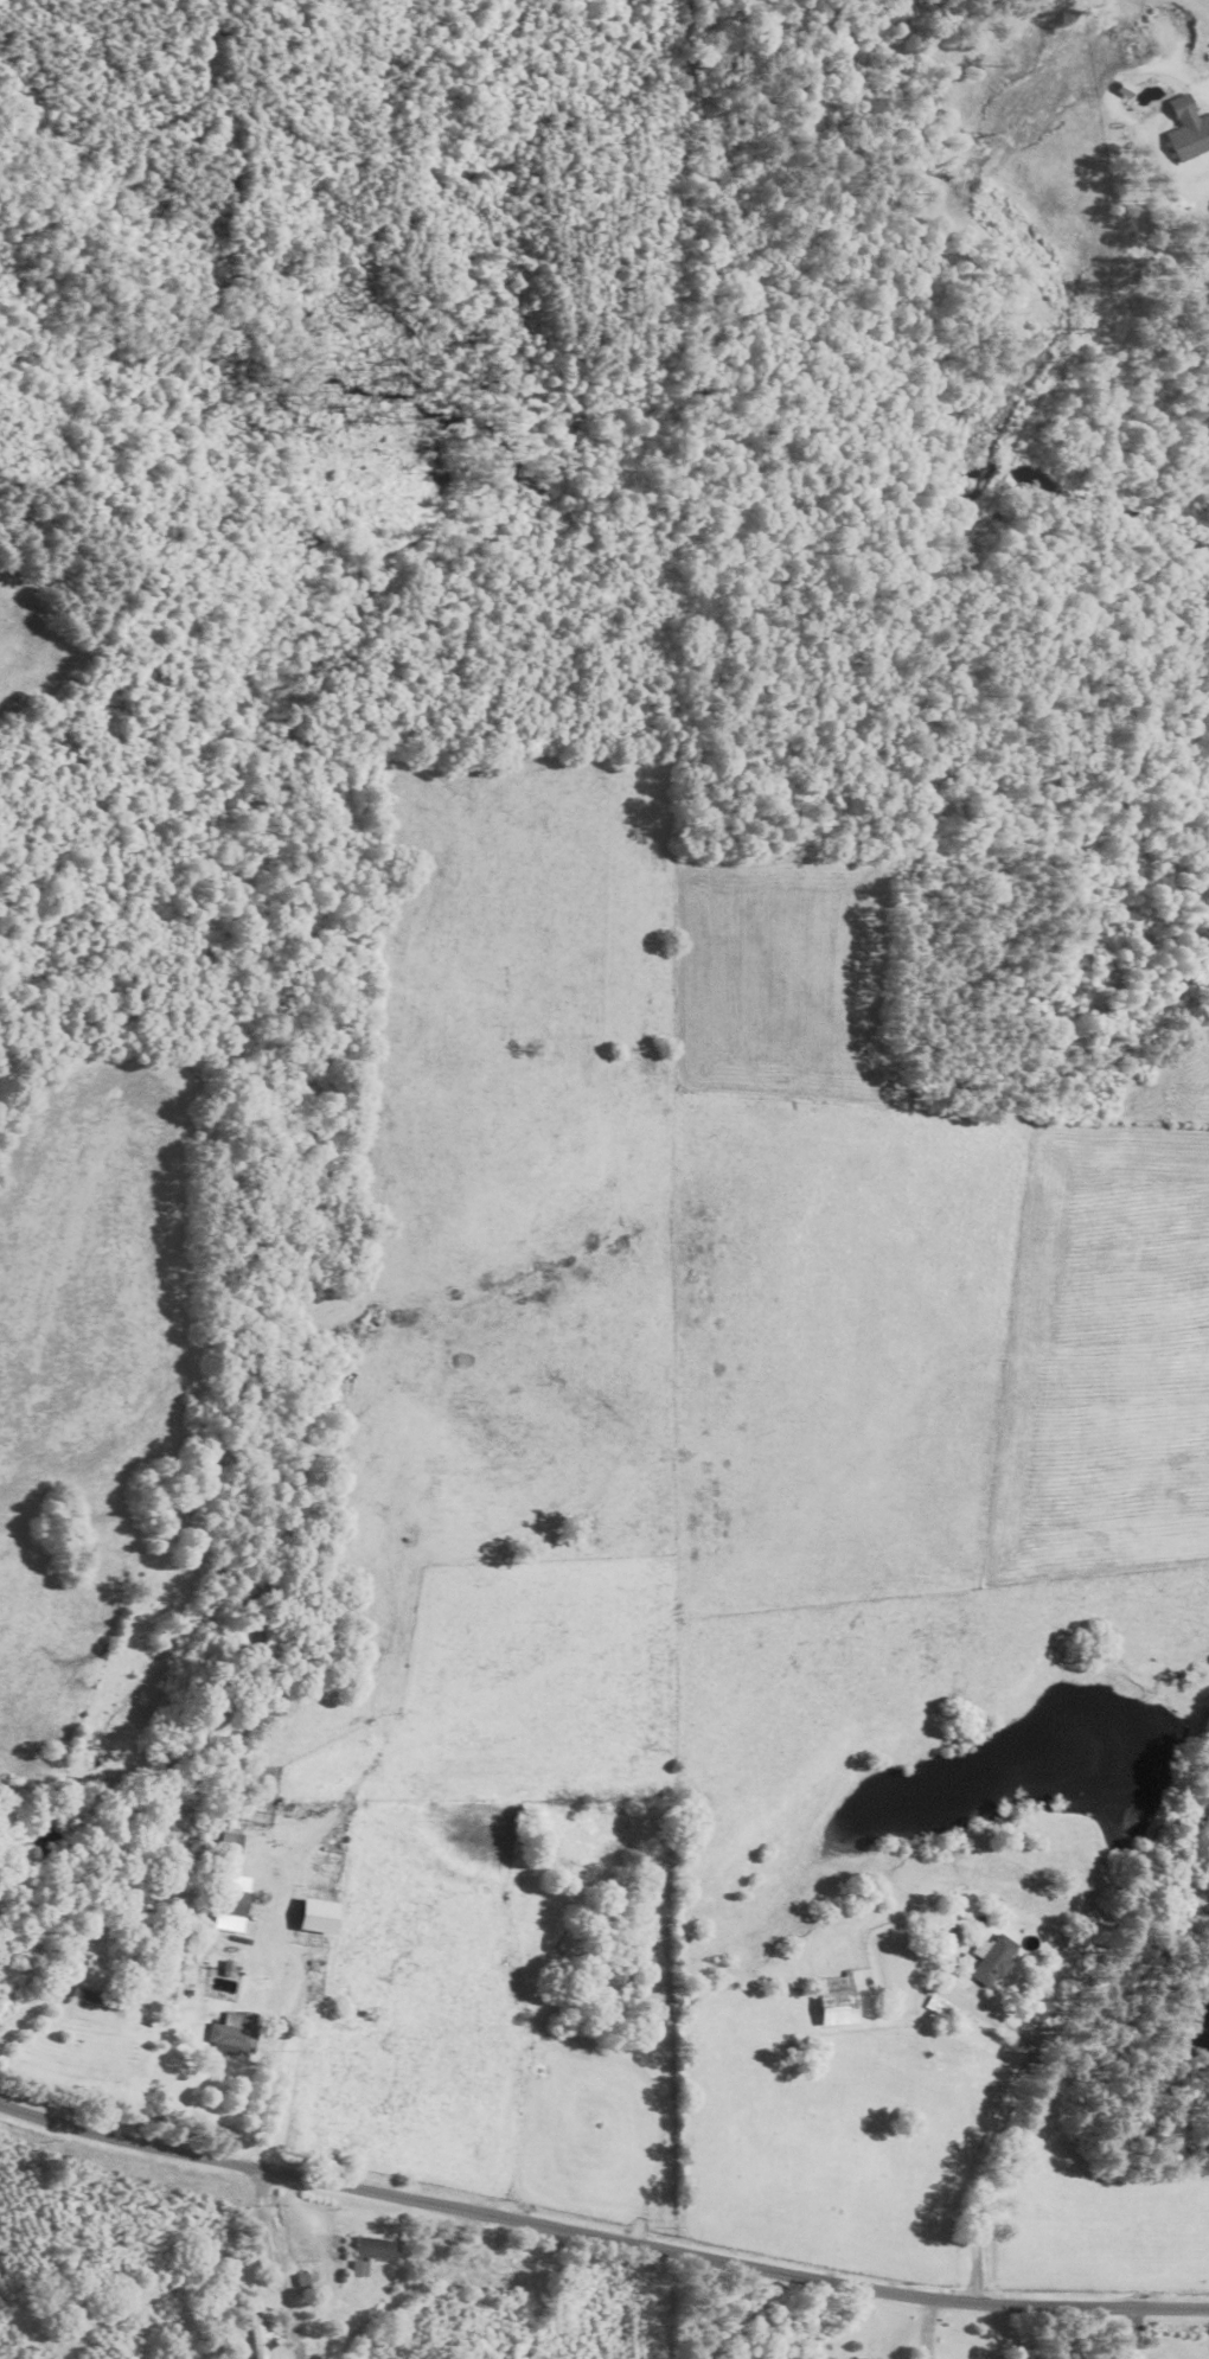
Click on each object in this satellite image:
road: (239, 2)
building: (1190, 140)
building: (232, 1840)
building: (602, 1842)
building: (234, 1903)
building: (91, 1946)
building: (994, 1960)
building: (839, 2001)
road: (34, 2003)
building: (235, 2034)
road: (257, 2105)
road: (999, 2131)
road: (599, 2236)
building: (377, 2249)
road: (274, 2267)
building: (522, 2278)
road: (402, 2290)
road: (1134, 2335)
building: (260, 2341)

